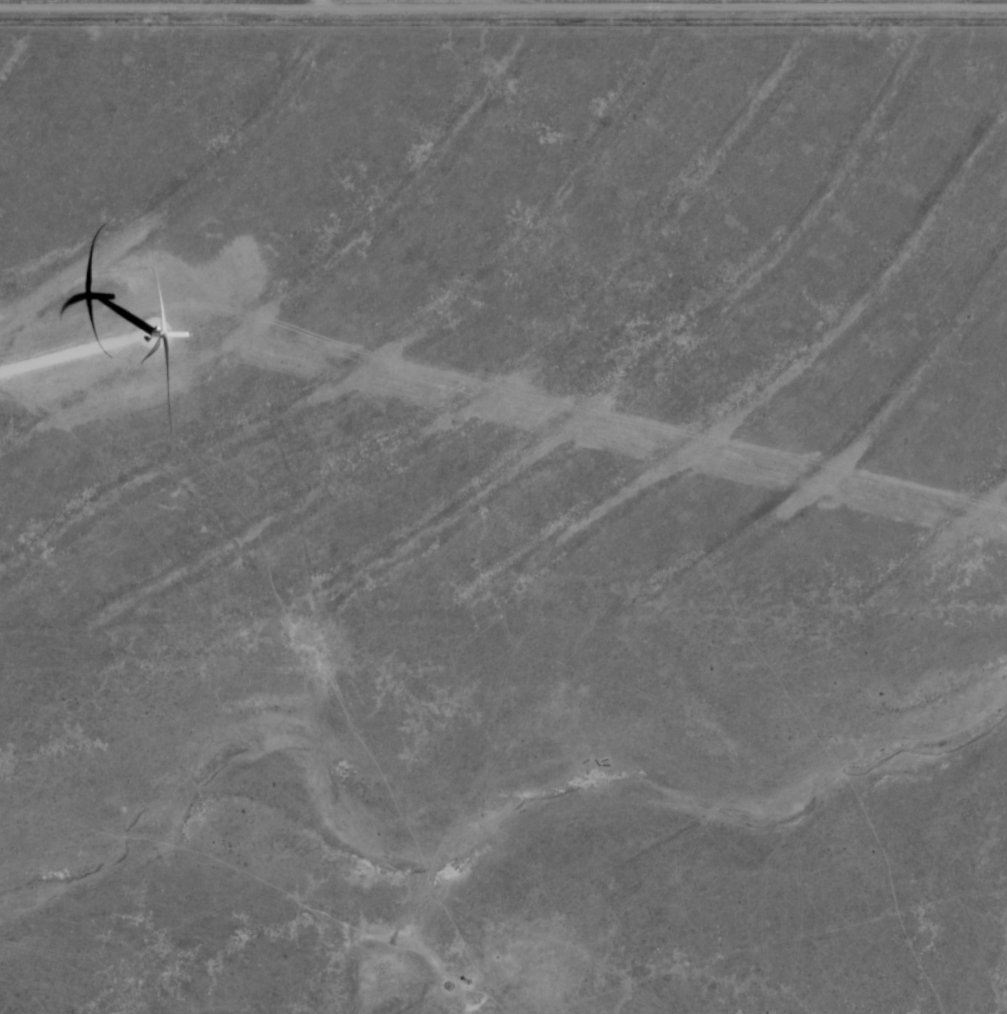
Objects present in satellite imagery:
road: (503, 6)
wind turbine: (149, 329)

